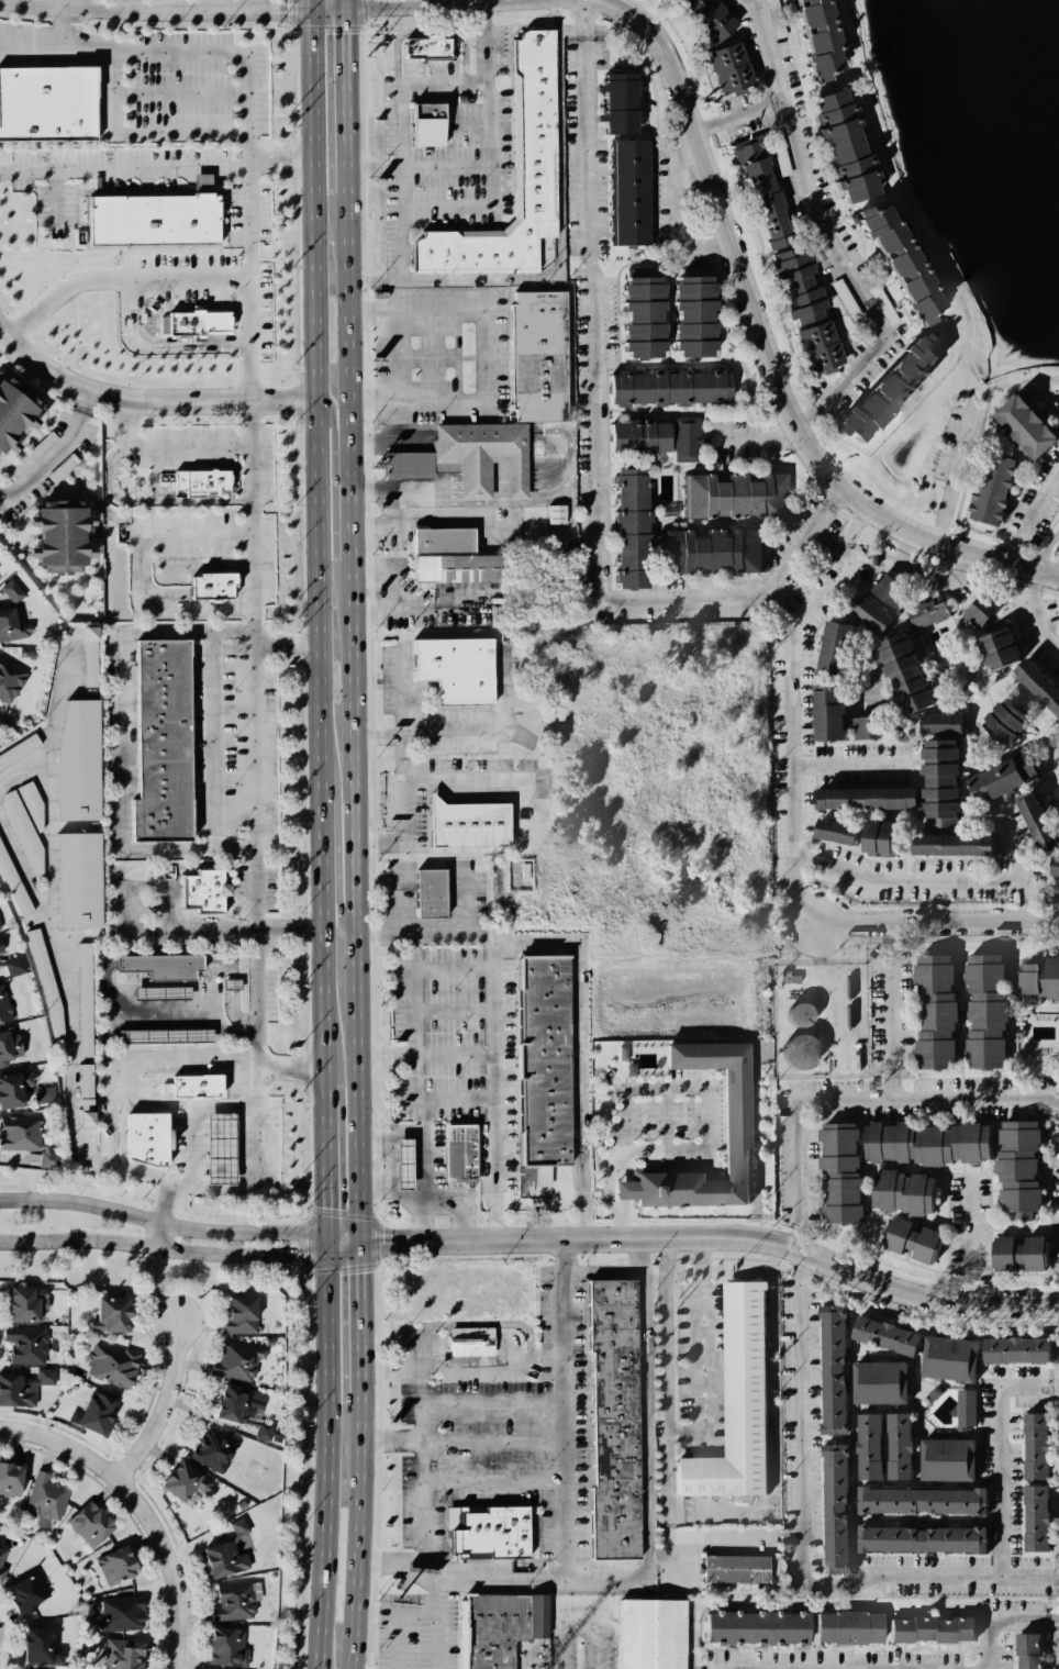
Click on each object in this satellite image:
road: (402, 7)
traffic signals: (344, 8)
road: (189, 10)
traffic signals: (311, 10)
building: (703, 18)
road: (68, 20)
road: (428, 31)
building: (813, 35)
road: (483, 44)
building: (424, 48)
road: (770, 49)
building: (723, 67)
road: (449, 85)
road: (178, 90)
building: (614, 101)
building: (49, 102)
road: (248, 102)
road: (744, 116)
building: (423, 123)
building: (531, 123)
road: (135, 130)
building: (838, 142)
road: (156, 167)
road: (416, 167)
road: (893, 182)
building: (628, 191)
building: (760, 192)
road: (671, 210)
building: (153, 221)
building: (892, 263)
road: (850, 276)
road: (399, 281)
road: (120, 283)
building: (803, 308)
building: (691, 315)
building: (637, 318)
building: (196, 322)
road: (166, 346)
road: (773, 346)
road: (484, 355)
road: (392, 356)
road: (423, 356)
building: (537, 356)
road: (1002, 385)
building: (664, 387)
building: (883, 388)
road: (88, 397)
road: (146, 400)
building: (11, 410)
building: (1023, 424)
road: (333, 427)
road: (479, 429)
road: (390, 432)
building: (635, 435)
building: (683, 439)
road: (767, 439)
building: (40, 445)
road: (164, 445)
road: (595, 445)
building: (459, 449)
road: (569, 456)
road: (45, 459)
road: (952, 477)
building: (515, 479)
building: (197, 483)
building: (472, 485)
road: (1054, 487)
building: (989, 488)
road: (425, 489)
road: (473, 490)
road: (498, 490)
road: (516, 490)
building: (733, 494)
road: (1040, 497)
road: (148, 501)
road: (393, 505)
building: (555, 513)
road: (250, 518)
building: (628, 527)
building: (66, 537)
building: (442, 539)
road: (902, 548)
road: (1047, 548)
building: (711, 550)
road: (140, 567)
building: (457, 568)
road: (960, 569)
road: (923, 575)
building: (208, 583)
road: (393, 589)
building: (12, 591)
building: (892, 591)
road: (439, 602)
building: (974, 603)
building: (919, 605)
road: (1044, 608)
building: (866, 612)
building: (12, 624)
building: (990, 645)
road: (286, 646)
building: (88, 652)
building: (454, 669)
building: (899, 670)
building: (825, 675)
building: (10, 680)
building: (1035, 686)
road: (509, 689)
road: (400, 691)
road: (791, 698)
building: (863, 719)
building: (988, 724)
road: (443, 733)
building: (157, 739)
road: (211, 741)
building: (15, 746)
road: (46, 750)
building: (68, 760)
road: (253, 760)
road: (125, 763)
building: (935, 766)
road: (843, 772)
building: (1000, 772)
building: (858, 790)
building: (33, 806)
building: (465, 823)
building: (1034, 826)
building: (22, 831)
building: (846, 833)
road: (320, 834)
road: (352, 834)
building: (883, 838)
building: (944, 843)
building: (1056, 866)
building: (70, 875)
road: (943, 881)
building: (9, 889)
building: (423, 891)
building: (198, 892)
road: (336, 897)
road: (939, 919)
building: (0, 927)
road: (156, 931)
building: (1, 946)
building: (158, 964)
building: (10, 966)
road: (57, 967)
road: (457, 970)
building: (1047, 975)
building: (41, 983)
building: (227, 983)
building: (155, 991)
building: (3, 1006)
building: (982, 1009)
building: (930, 1010)
road: (899, 1011)
road: (457, 1012)
storage tank: (791, 1013)
building: (800, 1014)
road: (498, 1019)
building: (80, 1027)
building: (161, 1033)
building: (1043, 1035)
building: (5, 1045)
parking lot: (458, 1047)
storage tank: (791, 1050)
building: (800, 1052)
road: (192, 1053)
road: (577, 1054)
road: (387, 1056)
road: (458, 1056)
road: (417, 1057)
building: (545, 1059)
road: (289, 1067)
building: (189, 1083)
building: (12, 1086)
building: (41, 1091)
road: (860, 1104)
road: (116, 1108)
building: (732, 1120)
road: (246, 1130)
building: (19, 1134)
building: (140, 1135)
road: (703, 1138)
building: (921, 1142)
building: (221, 1148)
road: (425, 1149)
building: (457, 1153)
gas station: (399, 1159)
building: (405, 1162)
road: (109, 1165)
building: (1015, 1166)
building: (836, 1172)
building: (896, 1192)
road: (431, 1205)
road: (161, 1222)
traffic signals: (325, 1233)
road: (341, 1238)
road: (576, 1238)
building: (908, 1240)
traffic signals: (357, 1244)
road: (974, 1244)
road: (161, 1248)
road: (341, 1249)
building: (1016, 1251)
traffic signals: (325, 1255)
road: (604, 1272)
road: (922, 1298)
building: (16, 1303)
building: (107, 1311)
building: (235, 1312)
road: (472, 1323)
building: (881, 1335)
building: (469, 1339)
building: (22, 1343)
building: (1004, 1348)
road: (699, 1349)
building: (234, 1357)
building: (943, 1358)
building: (109, 1365)
building: (829, 1370)
building: (42, 1376)
building: (877, 1381)
building: (14, 1389)
road: (422, 1392)
road: (645, 1401)
building: (734, 1402)
building: (224, 1403)
road: (159, 1406)
building: (966, 1406)
road: (566, 1410)
building: (91, 1411)
building: (609, 1420)
building: (260, 1428)
road: (390, 1437)
building: (896, 1444)
building: (1029, 1444)
building: (867, 1446)
building: (210, 1449)
road: (1004, 1458)
building: (941, 1459)
road: (100, 1470)
building: (175, 1478)
building: (8, 1480)
road: (493, 1481)
building: (44, 1500)
building: (919, 1502)
building: (829, 1509)
road: (803, 1511)
building: (1032, 1518)
building: (86, 1523)
building: (239, 1527)
building: (483, 1531)
road: (721, 1536)
building: (918, 1540)
building: (216, 1553)
building: (1, 1559)
road: (668, 1562)
building: (109, 1564)
building: (732, 1571)
road: (1030, 1578)
building: (22, 1587)
building: (257, 1591)
building: (226, 1603)
building: (118, 1612)
road: (169, 1613)
road: (423, 1613)
road: (1004, 1621)
building: (927, 1624)
building: (841, 1625)
building: (497, 1627)
building: (748, 1628)
building: (646, 1637)
building: (31, 1640)
road: (391, 1640)
building: (222, 1645)
road: (600, 1650)
building: (1024, 1650)
building: (112, 1654)
building: (16, 1668)

